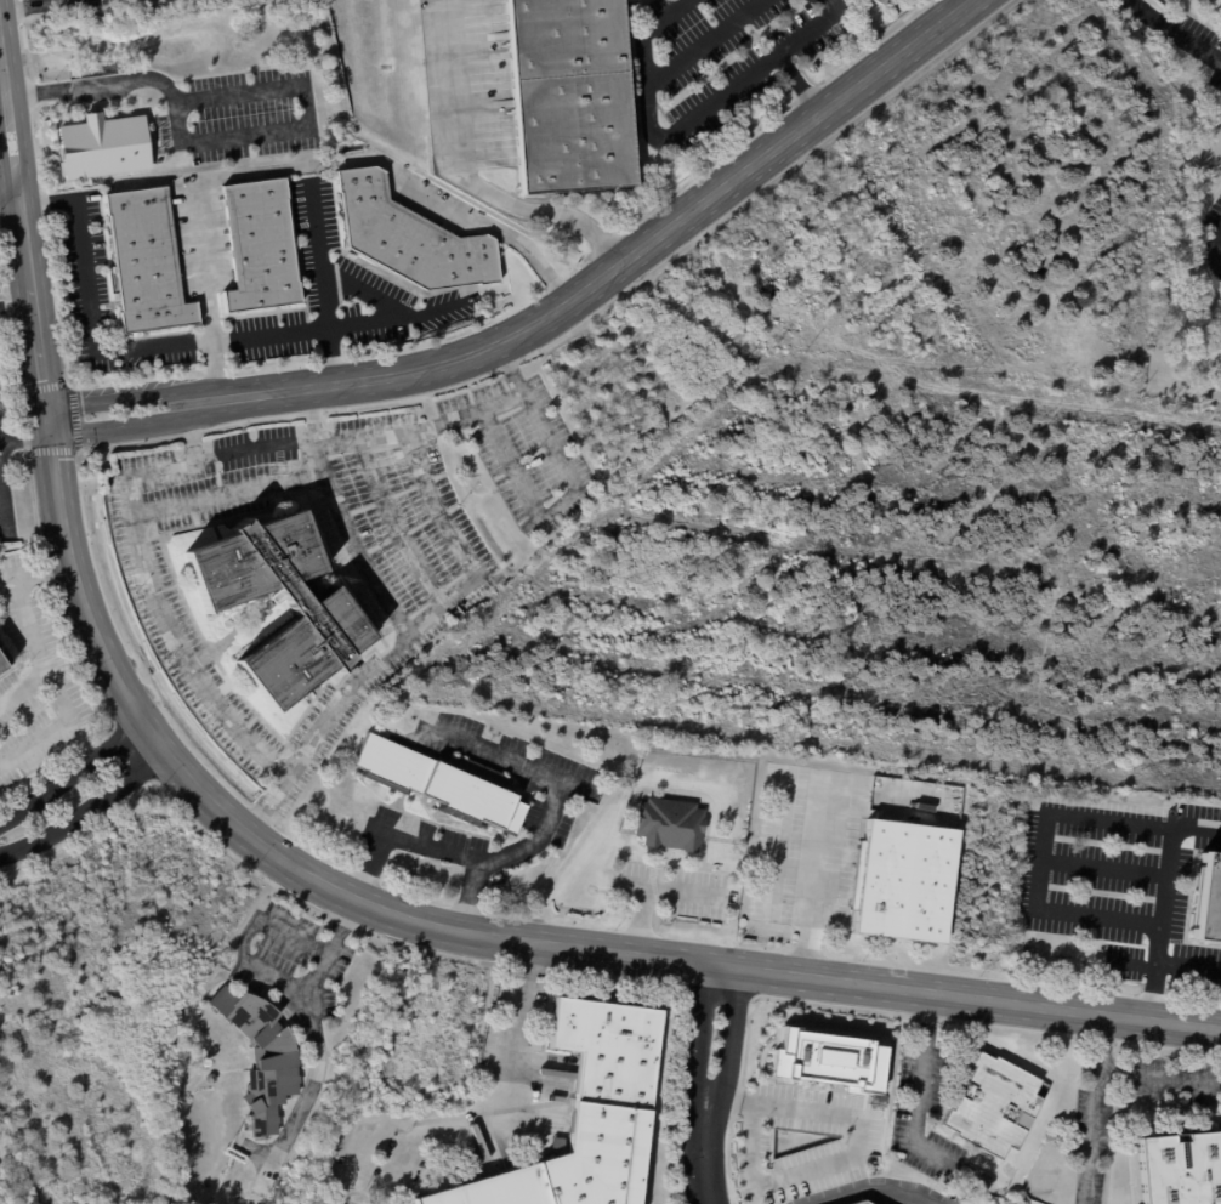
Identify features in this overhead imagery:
building: (1220, 0)
building: (879, 1)
road: (32, 5)
road: (1175, 30)
road: (699, 39)
road: (797, 83)
road: (80, 87)
building: (570, 95)
road: (688, 117)
road: (8, 120)
road: (294, 130)
building: (104, 144)
road: (296, 167)
road: (471, 182)
road: (8, 194)
road: (19, 200)
road: (47, 203)
building: (411, 235)
building: (261, 245)
road: (1216, 246)
road: (318, 254)
building: (146, 260)
road: (623, 261)
road: (16, 299)
road: (403, 317)
road: (135, 348)
road: (333, 356)
road: (201, 401)
road: (115, 411)
road: (313, 414)
road: (189, 432)
road: (24, 435)
road: (57, 482)
road: (134, 506)
road: (555, 509)
road: (464, 553)
road: (39, 567)
building: (323, 609)
road: (33, 643)
building: (4, 658)
building: (421, 712)
road: (57, 726)
road: (75, 773)
building: (444, 784)
road: (553, 799)
road: (266, 803)
road: (87, 808)
building: (671, 824)
road: (397, 834)
road: (1039, 859)
road: (1103, 869)
road: (812, 878)
building: (904, 881)
road: (644, 887)
road: (1164, 899)
building: (1209, 902)
road: (411, 918)
road: (1132, 966)
road: (263, 972)
road: (1152, 989)
road: (972, 998)
building: (262, 1057)
building: (833, 1062)
road: (1160, 1079)
road: (710, 1084)
road: (918, 1085)
road: (500, 1101)
building: (993, 1104)
road: (1095, 1108)
building: (587, 1114)
building: (558, 1143)
road: (812, 1169)
building: (1181, 1169)
road: (865, 1188)
building: (862, 1203)

